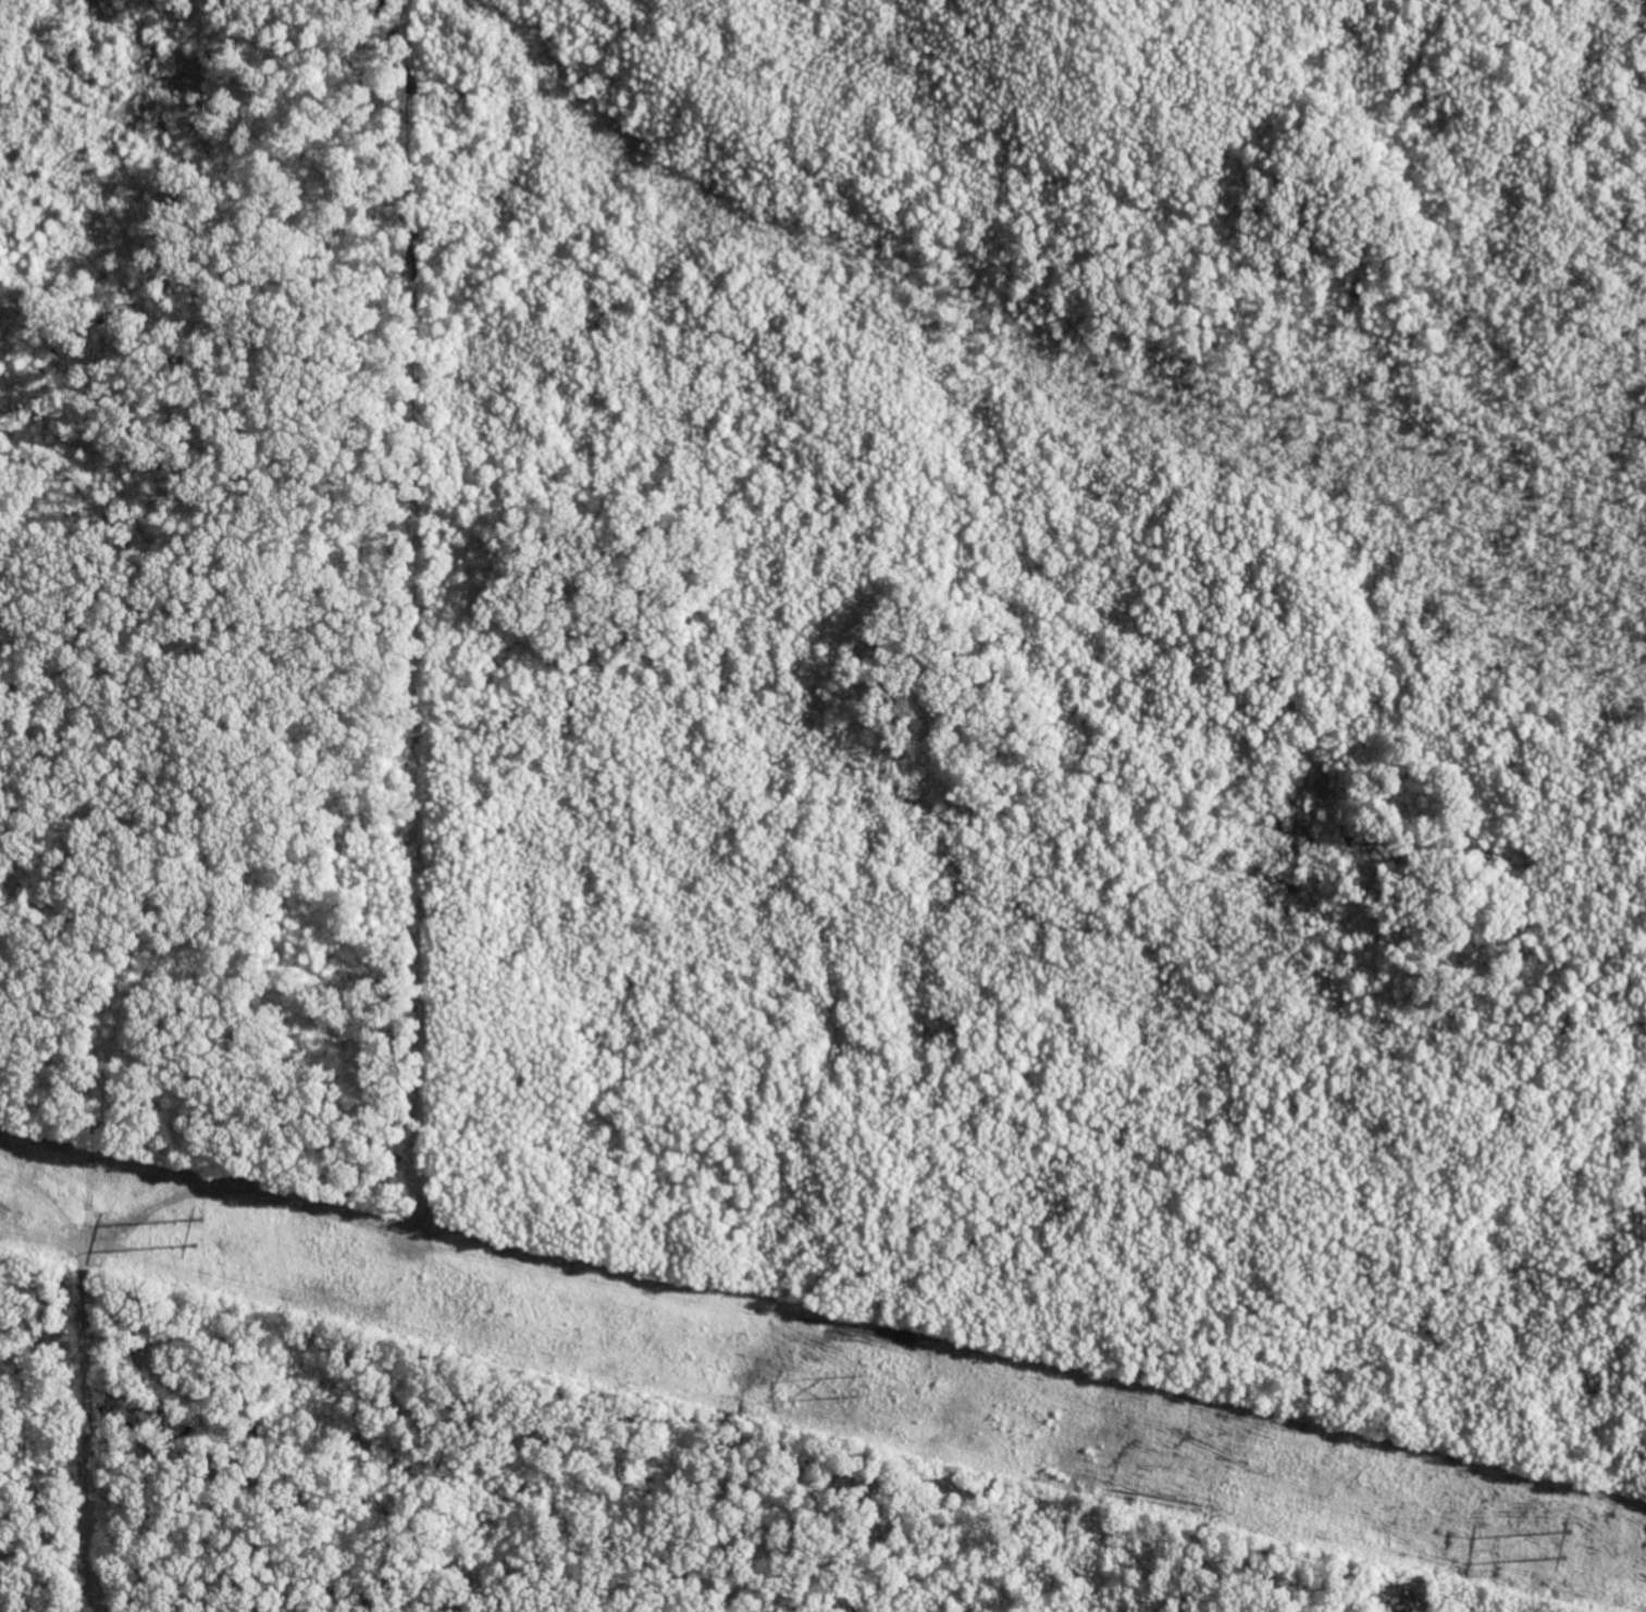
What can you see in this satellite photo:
power tower: (198, 1232)
power tower: (866, 1386)
power tower: (1565, 1548)

